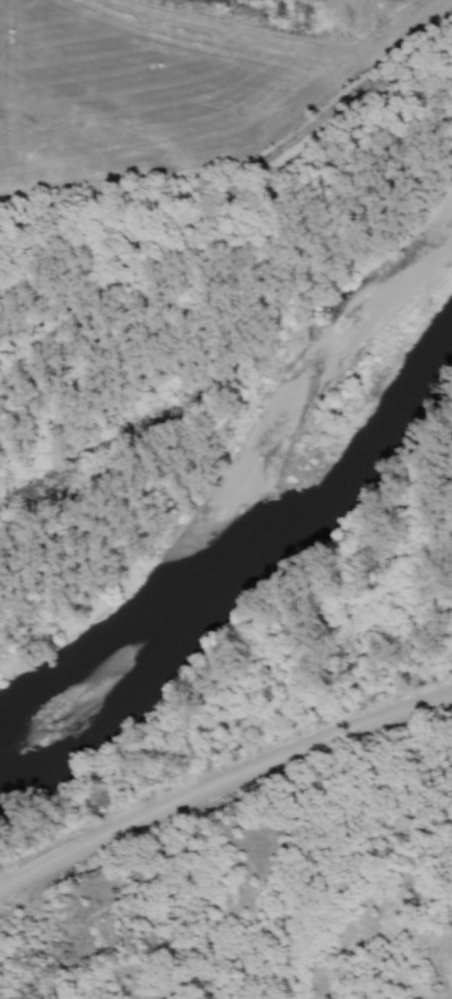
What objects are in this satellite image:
river: (246, 559)
road: (221, 784)

